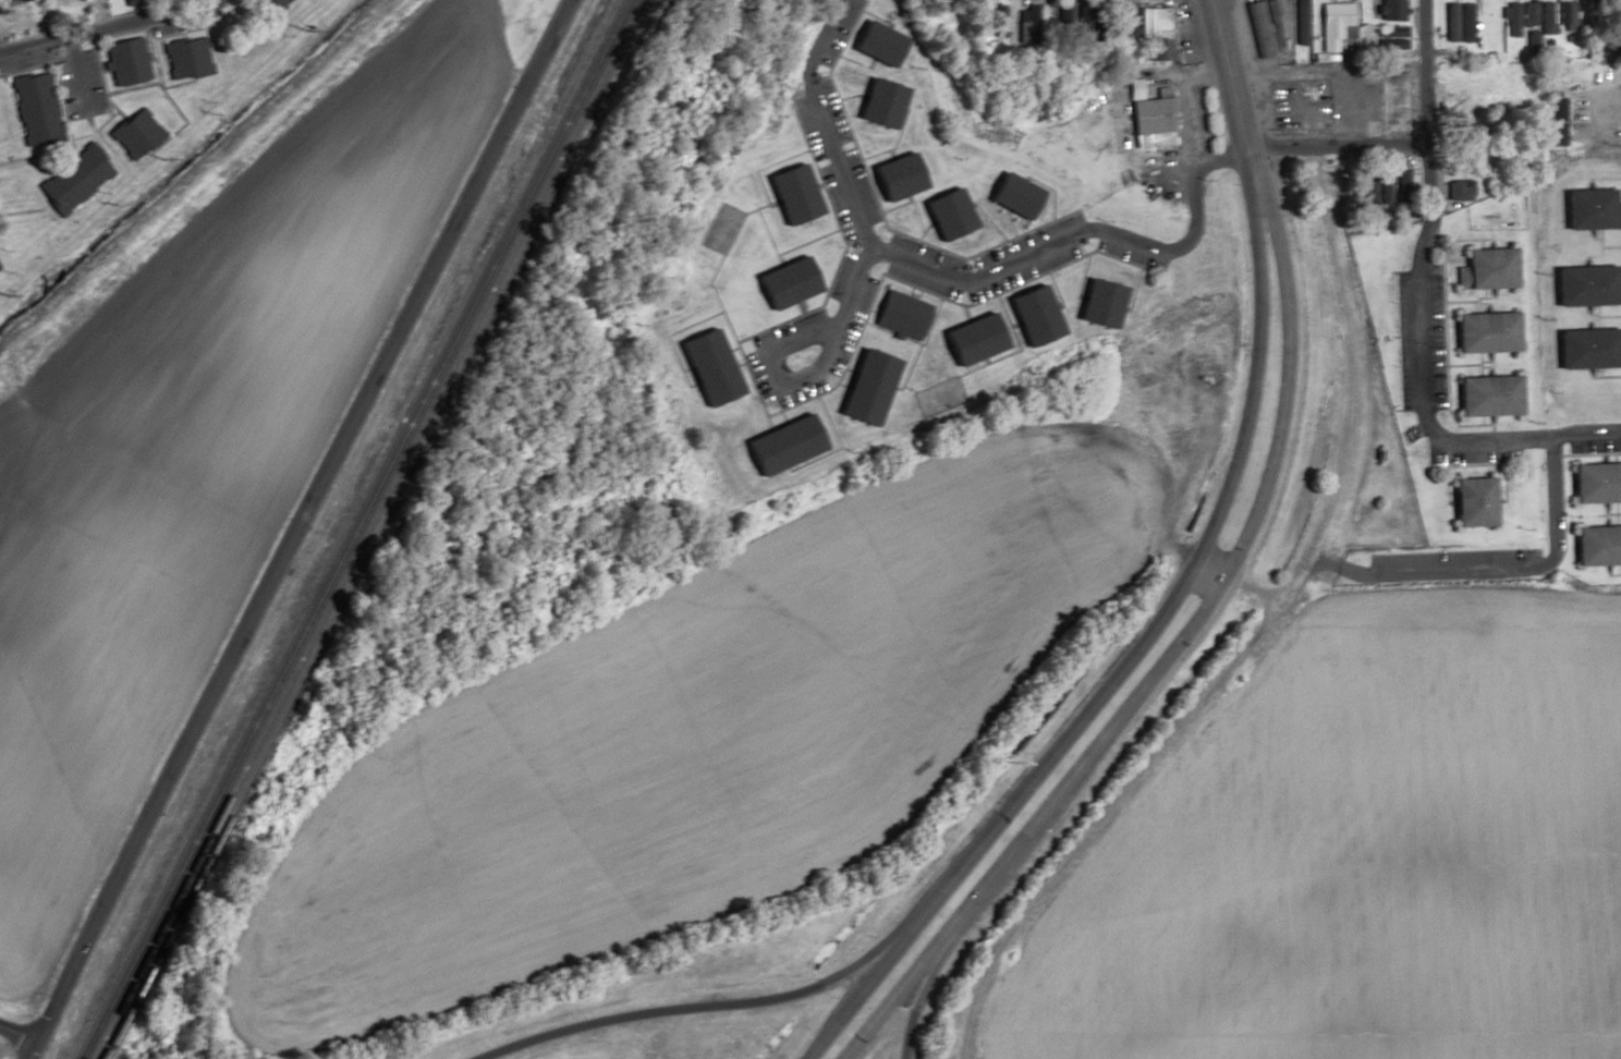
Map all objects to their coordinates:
building: (8, 0)
building: (273, 3)
building: (1387, 9)
building: (1524, 12)
road: (101, 13)
road: (1134, 14)
building: (1541, 16)
building: (1563, 16)
building: (1026, 19)
building: (1506, 19)
building: (1119, 20)
building: (1454, 21)
building: (1330, 24)
road: (105, 26)
building: (1262, 27)
building: (1388, 36)
building: (875, 44)
building: (183, 57)
building: (124, 60)
road: (1417, 72)
road: (1238, 73)
building: (1541, 75)
building: (1565, 75)
building: (1589, 75)
road: (1209, 78)
building: (1612, 78)
road: (81, 80)
building: (1389, 96)
building: (877, 102)
building: (1574, 108)
building: (34, 109)
building: (1147, 115)
building: (1551, 120)
building: (133, 133)
building: (1461, 133)
road: (1321, 146)
building: (892, 176)
building: (71, 179)
building: (1458, 191)
building: (791, 193)
building: (1009, 195)
building: (1587, 209)
building: (943, 212)
building: (1, 266)
building: (1482, 269)
road: (949, 279)
building: (783, 282)
building: (1580, 285)
building: (1096, 303)
building: (1029, 314)
building: (898, 315)
building: (1480, 332)
building: (968, 339)
building: (1582, 349)
building: (706, 366)
road: (827, 369)
road: (1415, 386)
building: (863, 387)
building: (1483, 395)
crop: (199, 445)
building: (779, 445)
building: (1594, 483)
building: (1467, 502)
road: (300, 519)
railway: (367, 528)
railway: (344, 529)
railway: (355, 529)
railway: (378, 529)
building: (1595, 545)
road: (1228, 584)
road: (1246, 640)
road: (1122, 645)
road: (1173, 645)
road: (916, 994)
road: (707, 1006)
road: (16, 1034)
road: (29, 1049)

